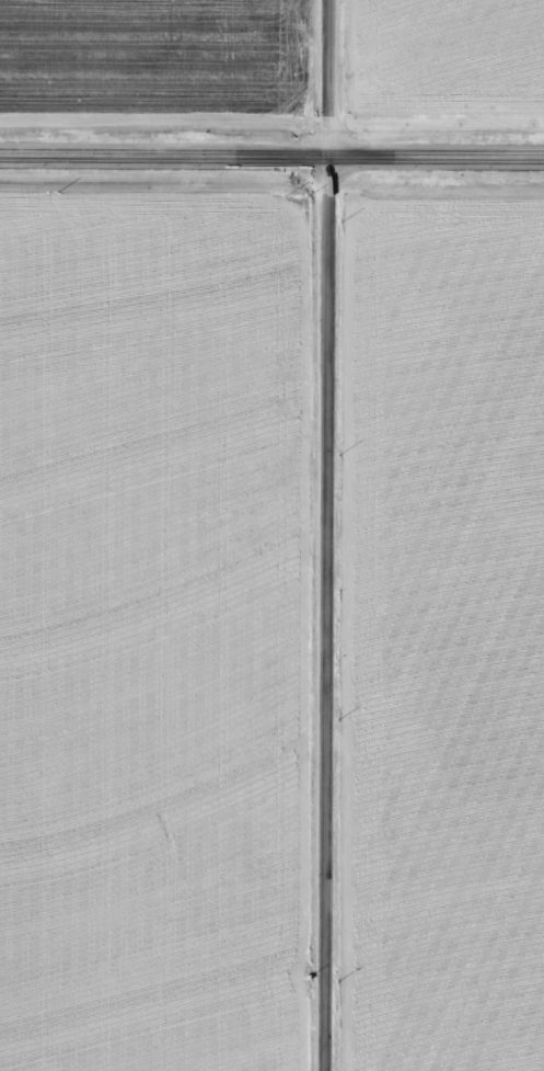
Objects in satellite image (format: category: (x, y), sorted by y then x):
road: (320, 80)
road: (271, 160)
road: (319, 616)

